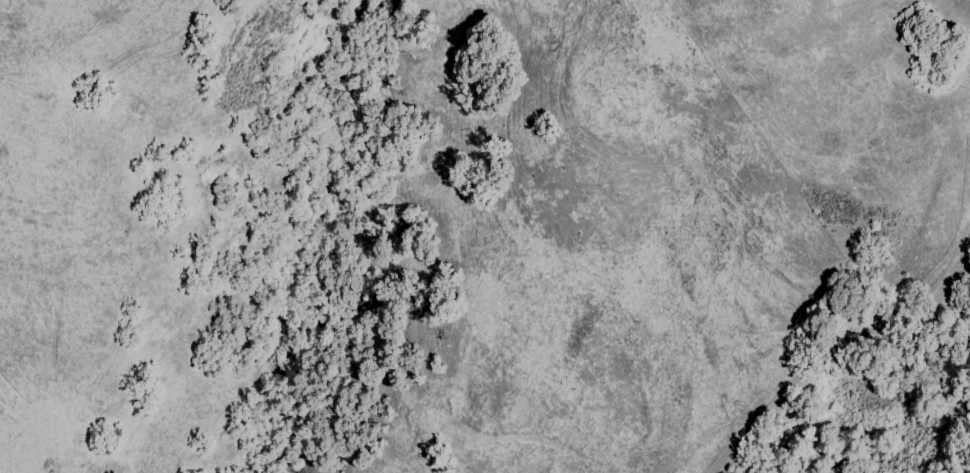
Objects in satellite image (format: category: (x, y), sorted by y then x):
road: (834, 348)

